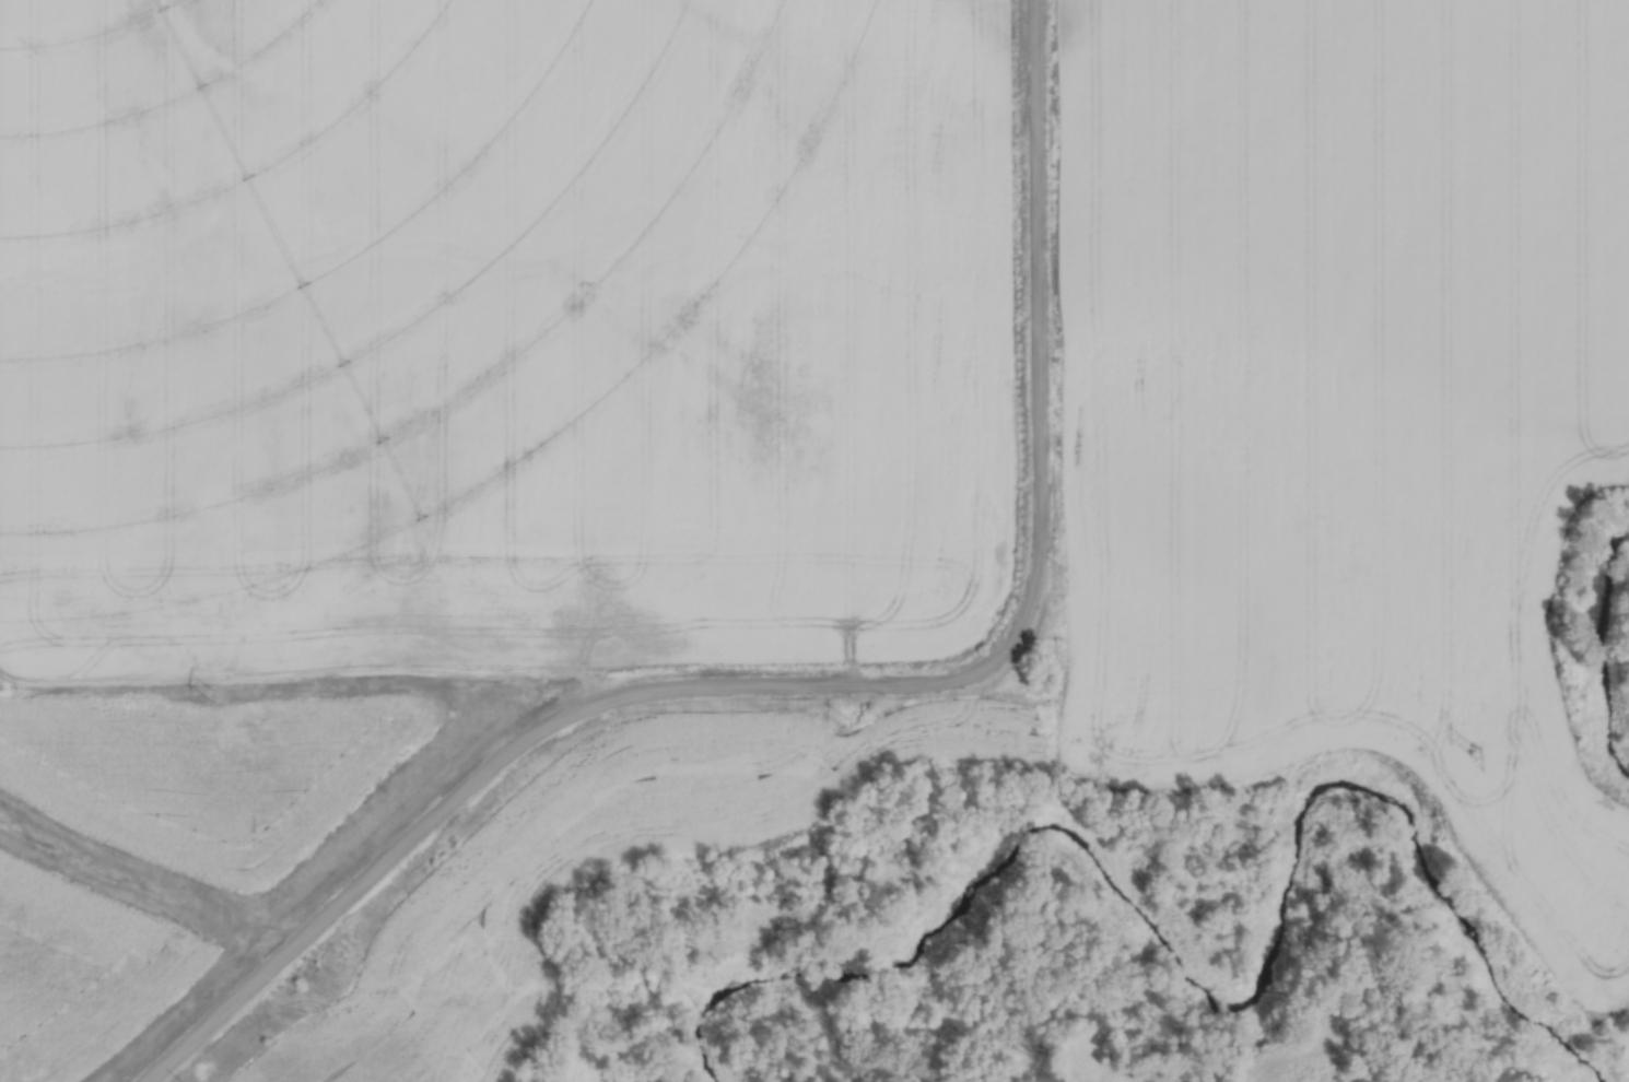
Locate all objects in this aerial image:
road: (840, 689)
power tower: (210, 693)
power tower: (846, 722)
power tower: (1475, 751)

